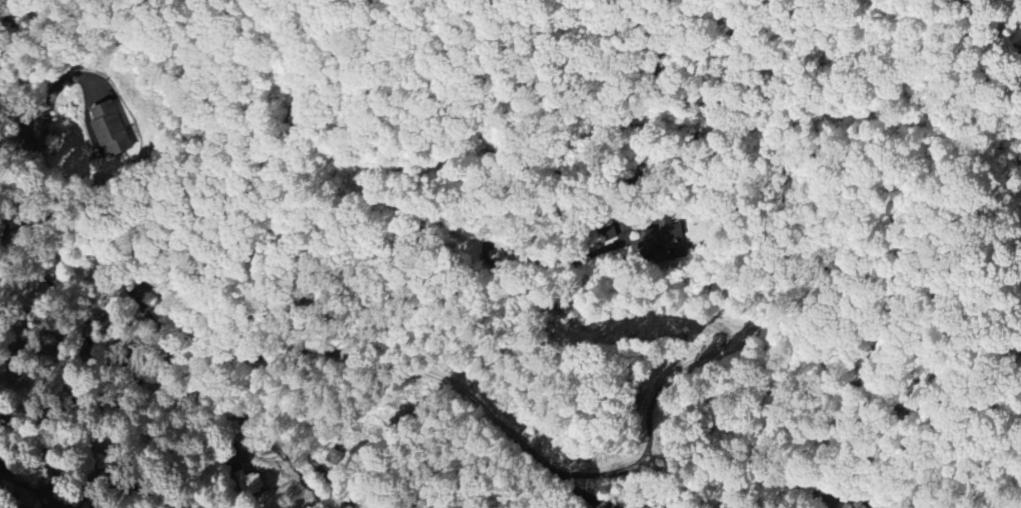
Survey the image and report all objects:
building: (108, 128)
road: (29, 212)
building: (606, 233)
road: (130, 292)
road: (591, 475)
building: (249, 482)
road: (21, 492)

